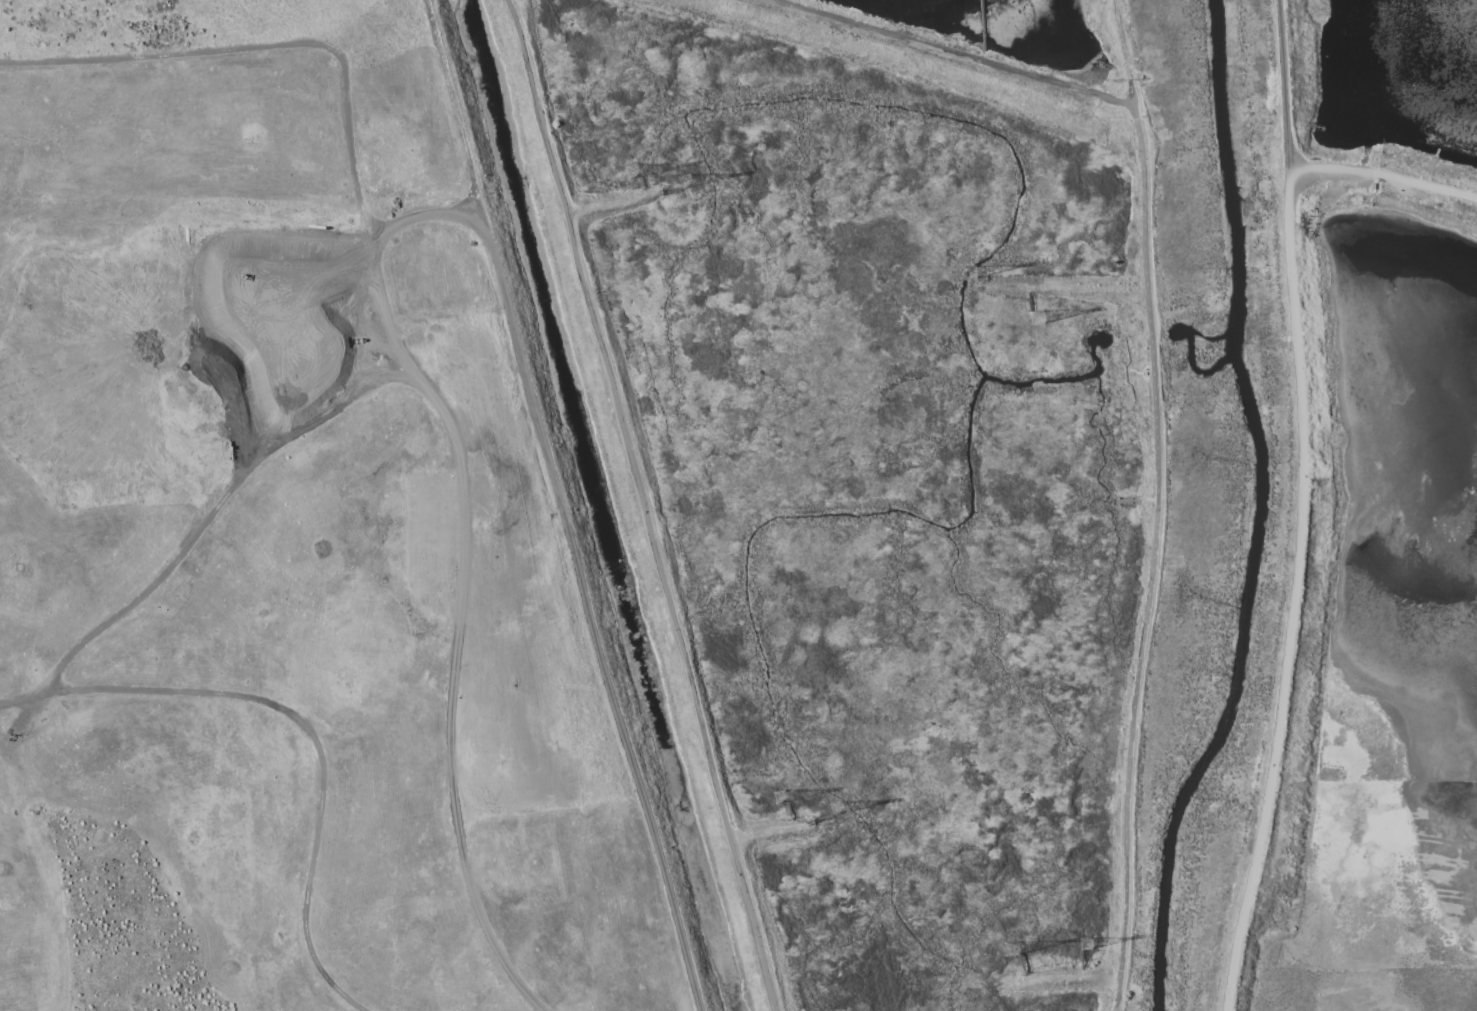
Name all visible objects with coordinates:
pier: (981, 25)
road: (270, 45)
road: (962, 51)
road: (1125, 51)
road: (1283, 83)
power tower: (632, 170)
road: (1383, 175)
power tower: (684, 180)
pier: (642, 183)
pier: (670, 192)
road: (612, 202)
power tower: (968, 271)
pier: (982, 277)
pier: (1029, 300)
power tower: (1037, 316)
road: (1135, 499)
road: (642, 504)
road: (564, 505)
road: (192, 538)
park: (324, 542)
road: (463, 549)
road: (1153, 557)
road: (1293, 590)
road: (307, 728)
power tower: (780, 795)
pier: (789, 809)
power tower: (839, 811)
pier: (819, 818)
road: (82, 872)
power tower: (1085, 943)
power tower: (1010, 947)
pier: (1081, 959)
pier: (1021, 964)
road: (121, 978)

